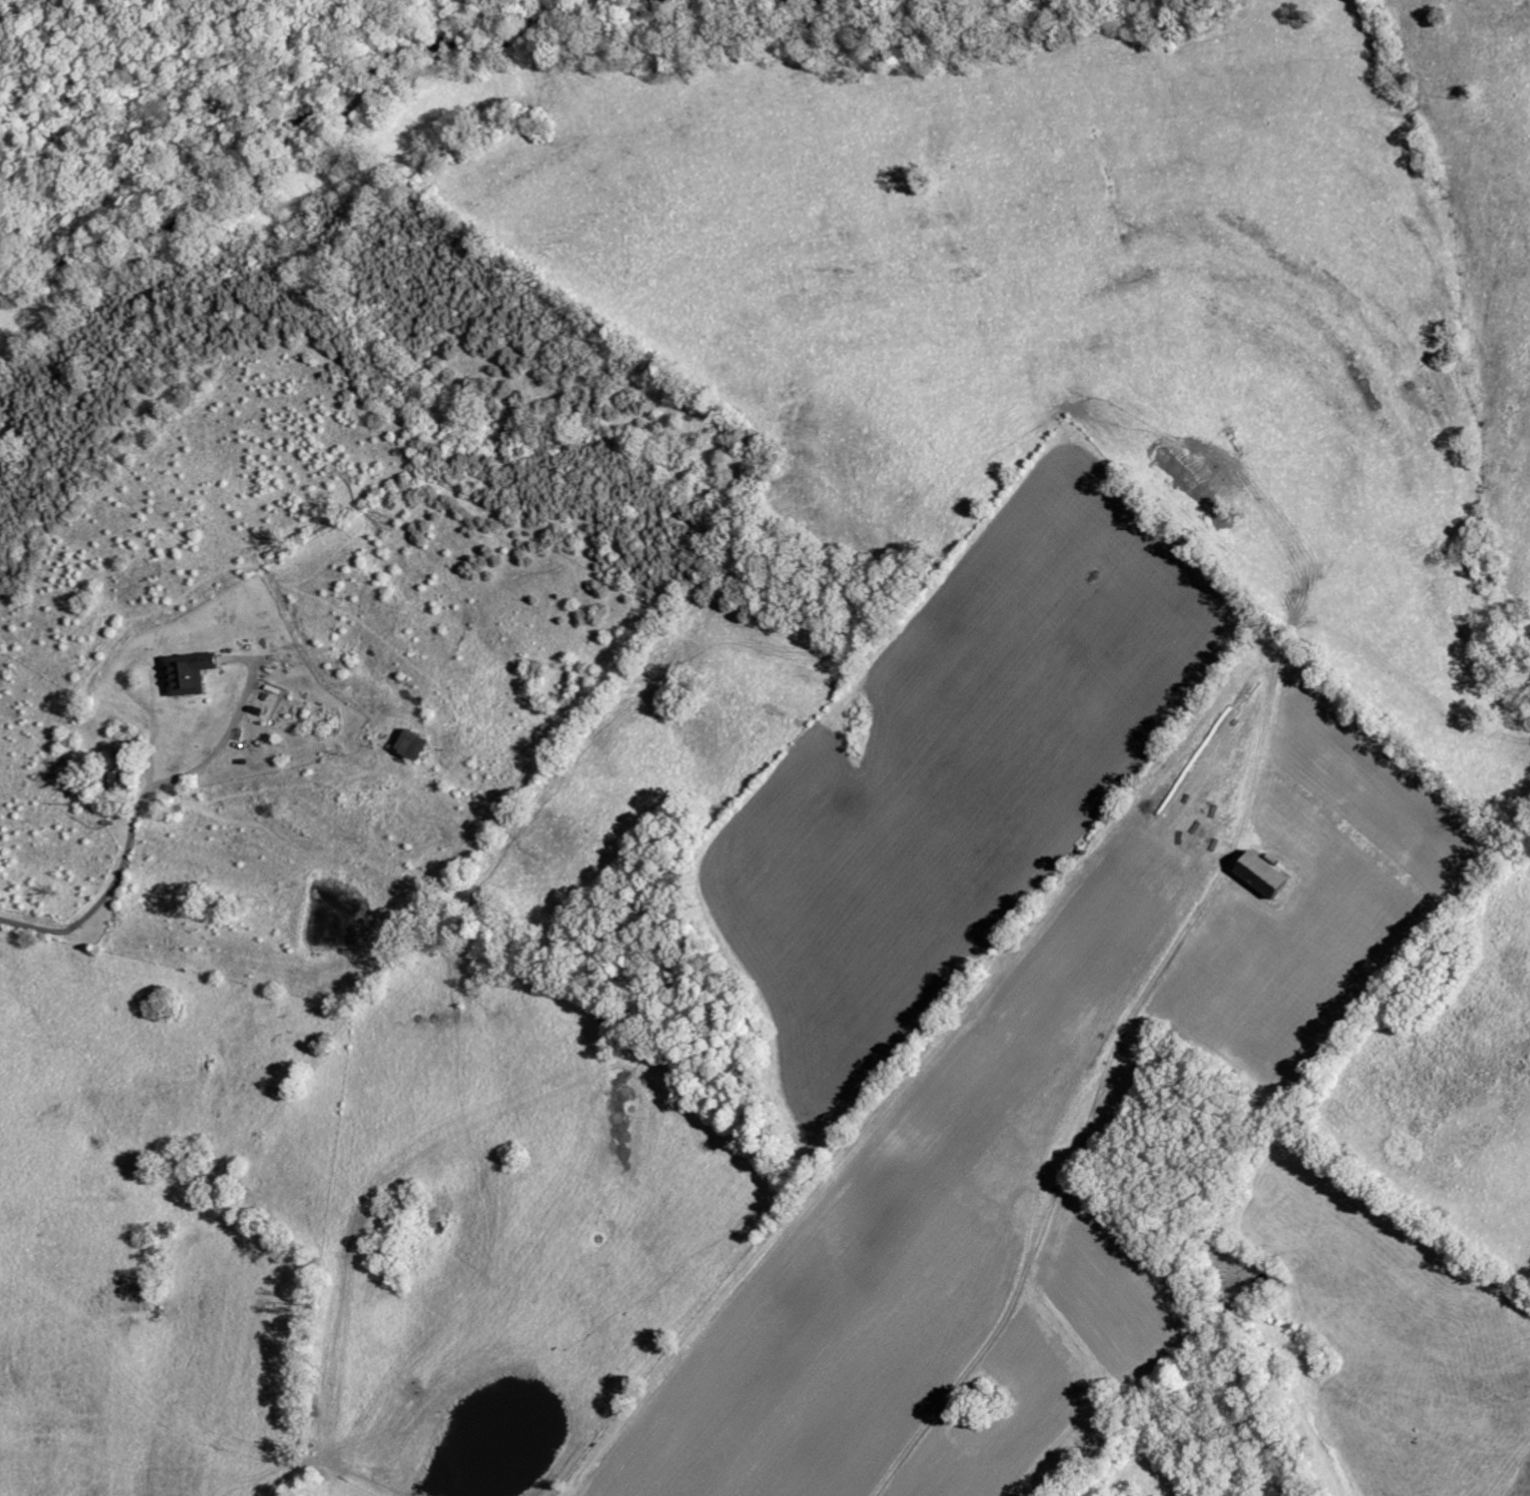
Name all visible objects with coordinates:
building: (193, 675)
building: (416, 747)
road: (135, 815)
building: (1267, 877)
road: (1108, 1054)

